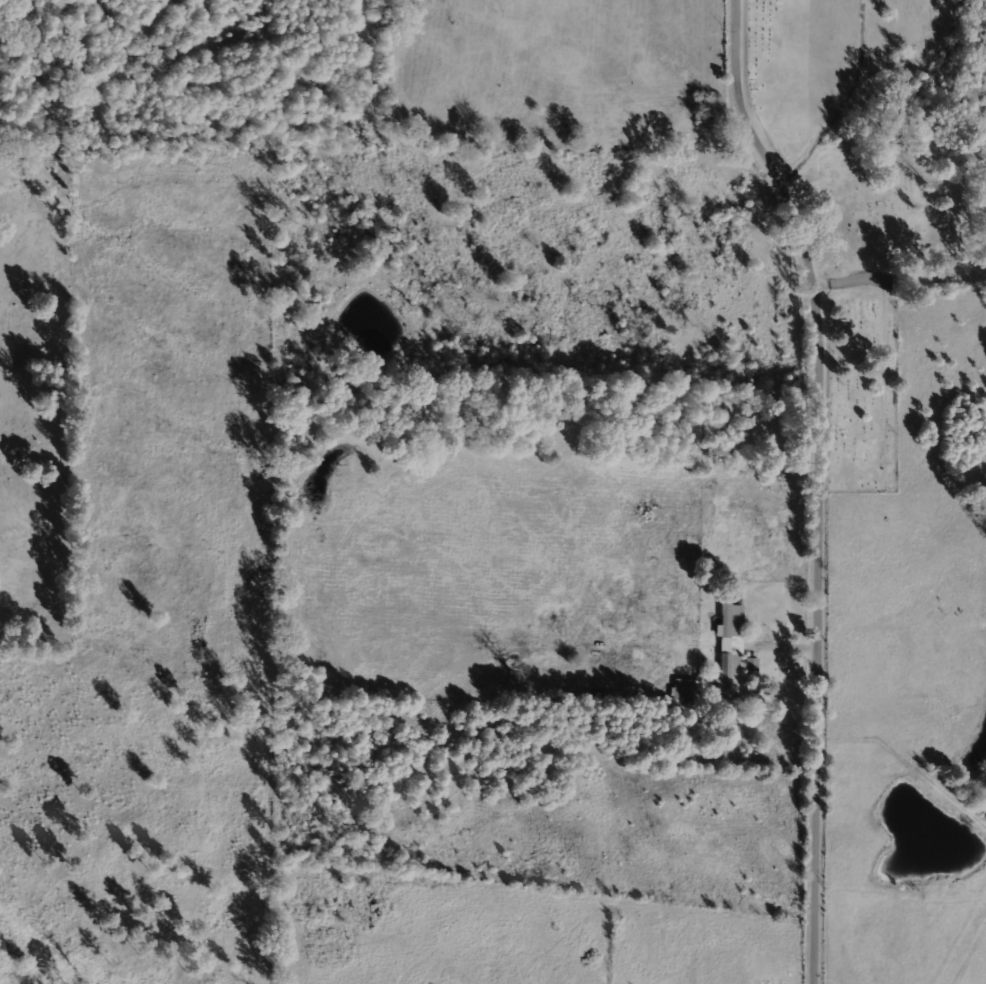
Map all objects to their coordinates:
road: (533, 37)
road: (770, 169)
park: (865, 188)
building: (727, 650)
road: (819, 662)
building: (683, 688)
road: (961, 933)

